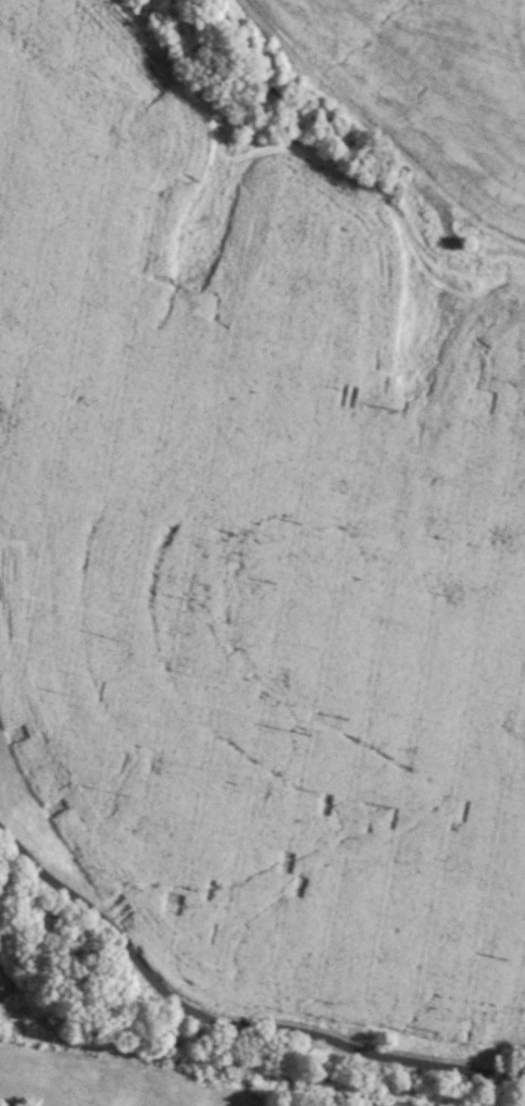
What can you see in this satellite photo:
road: (227, 1015)

